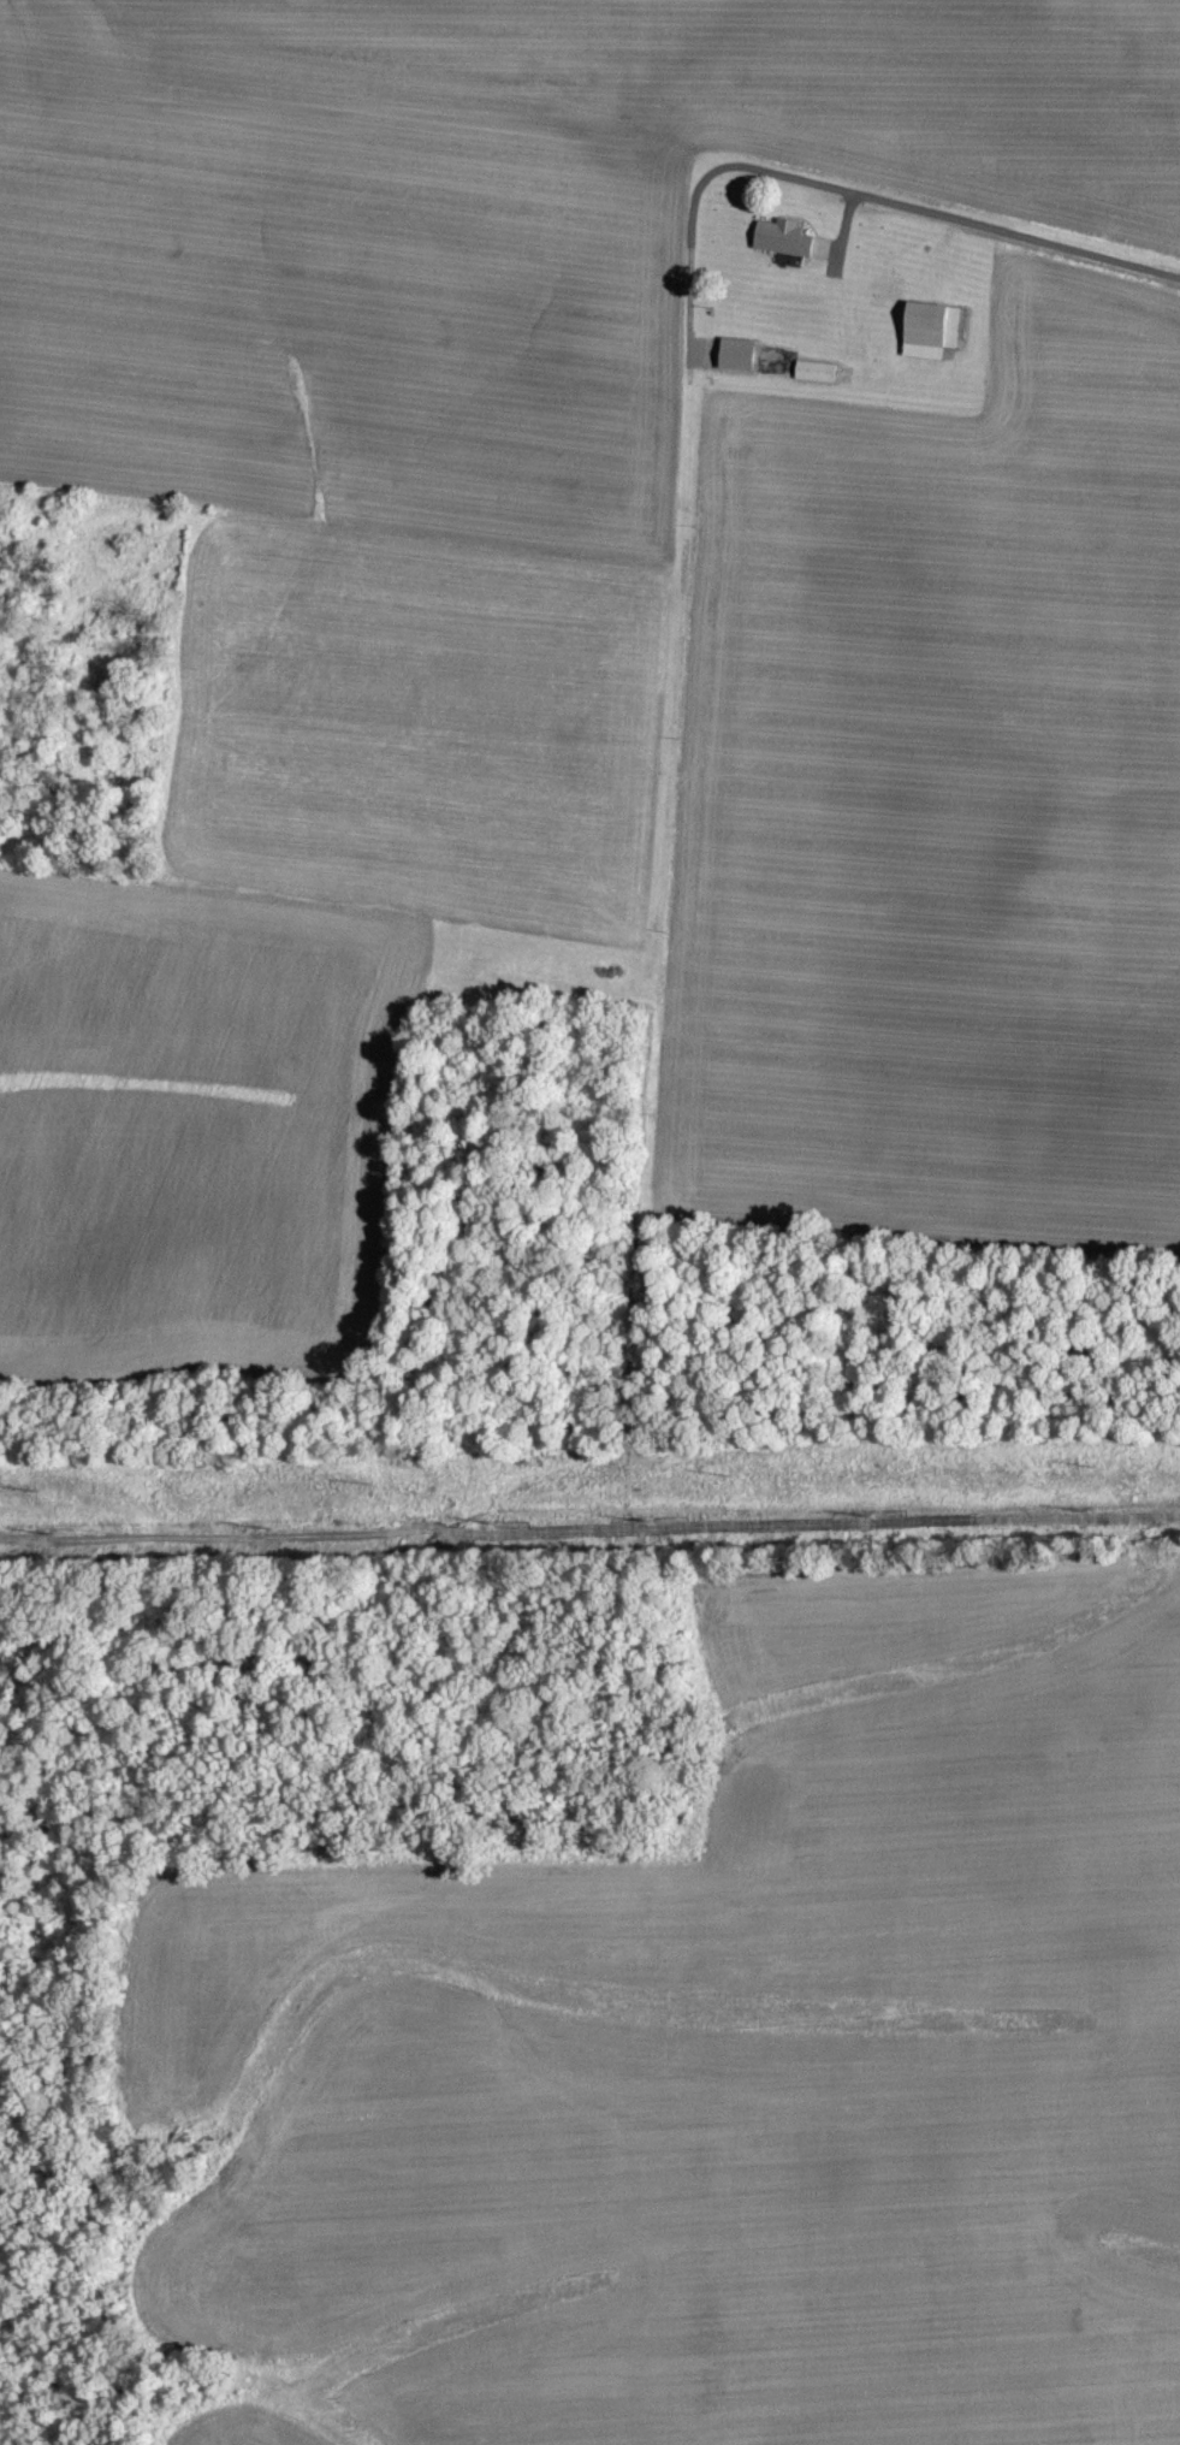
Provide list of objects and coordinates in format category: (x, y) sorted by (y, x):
road: (957, 217)
building: (766, 243)
building: (935, 321)
building: (855, 341)
building: (734, 353)
building: (817, 369)

